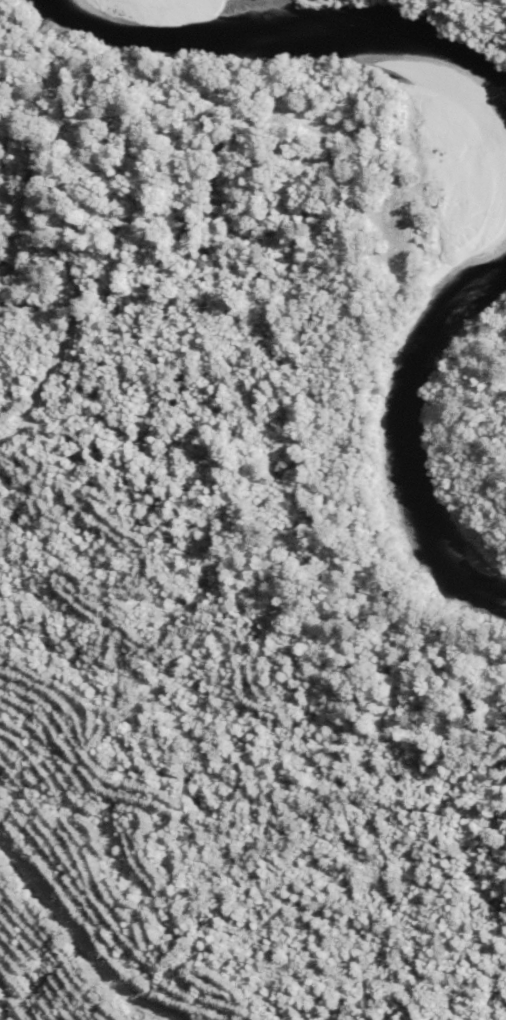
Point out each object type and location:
river: (280, 45)
building: (57, 67)
river: (414, 430)
road: (74, 936)

